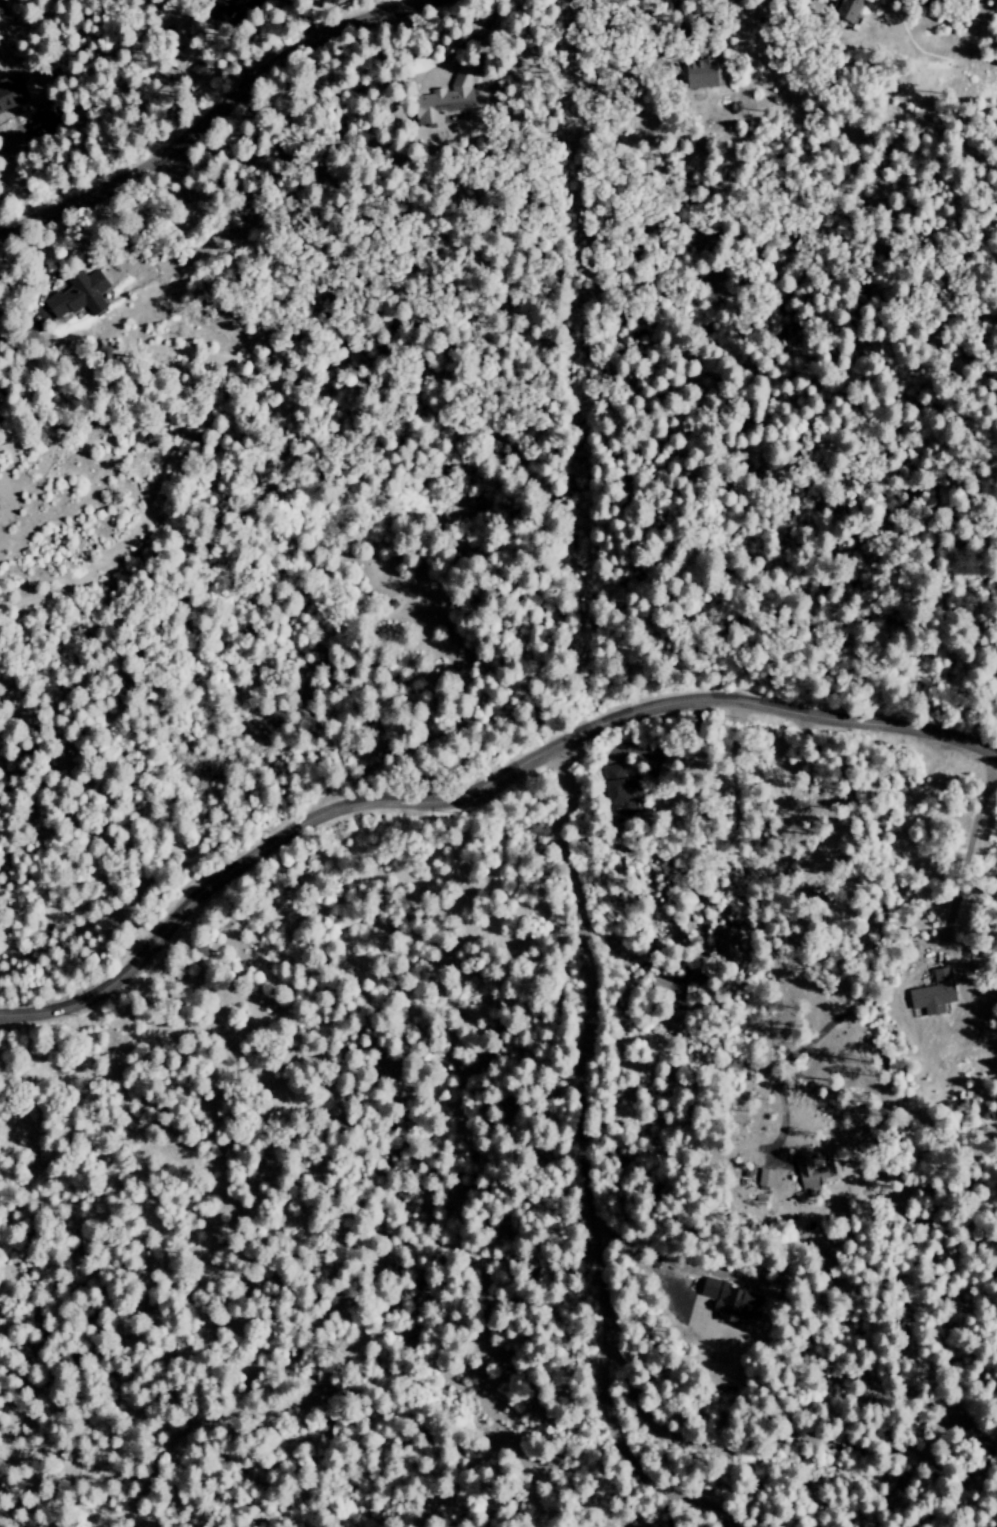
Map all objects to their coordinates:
building: (845, 10)
building: (198, 71)
building: (698, 73)
building: (8, 97)
building: (445, 100)
road: (213, 112)
building: (78, 295)
building: (462, 497)
road: (351, 652)
road: (475, 787)
building: (621, 794)
road: (968, 847)
road: (680, 870)
building: (933, 993)
road: (587, 1166)
building: (809, 1169)
building: (765, 1177)
building: (730, 1301)
road: (790, 1432)

